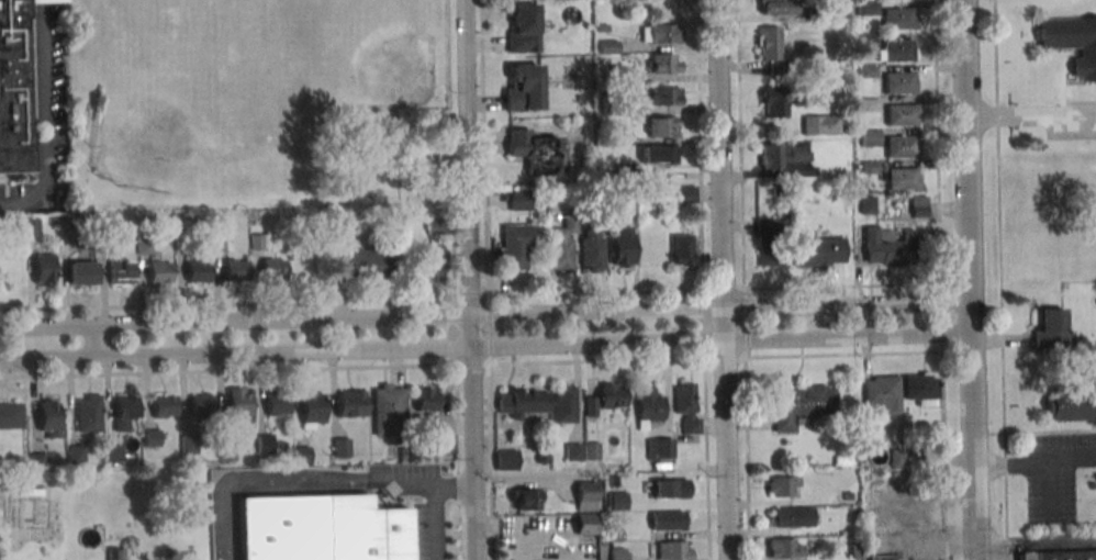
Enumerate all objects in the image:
building: (778, 7)
building: (866, 9)
building: (814, 13)
building: (897, 20)
building: (523, 27)
building: (602, 27)
building: (660, 33)
building: (865, 42)
building: (1072, 42)
building: (606, 47)
building: (770, 48)
building: (897, 51)
park: (357, 52)
building: (662, 65)
building: (865, 71)
building: (614, 72)
building: (898, 83)
building: (523, 87)
building: (13, 88)
park: (233, 93)
building: (664, 96)
building: (578, 98)
building: (774, 102)
building: (611, 104)
building: (868, 104)
building: (899, 115)
road: (1030, 115)
park: (174, 117)
parking lot: (1072, 120)
road: (41, 123)
building: (819, 124)
building: (662, 126)
building: (870, 137)
building: (618, 139)
building: (899, 147)
road: (451, 148)
building: (534, 150)
building: (660, 154)
road: (717, 154)
building: (782, 154)
building: (869, 167)
building: (622, 169)
building: (901, 179)
building: (597, 193)
building: (685, 194)
building: (519, 200)
building: (61, 201)
building: (866, 205)
building: (918, 206)
building: (107, 222)
building: (435, 225)
building: (31, 226)
building: (66, 226)
building: (338, 228)
building: (181, 239)
building: (222, 242)
building: (257, 242)
building: (768, 242)
road: (741, 244)
building: (142, 245)
building: (622, 245)
building: (513, 246)
building: (888, 246)
building: (561, 247)
building: (592, 249)
building: (682, 249)
building: (819, 251)
building: (432, 260)
building: (362, 264)
building: (305, 267)
building: (43, 268)
building: (273, 269)
building: (120, 270)
building: (197, 270)
building: (235, 271)
building: (159, 272)
building: (79, 273)
road: (999, 279)
road: (468, 280)
road: (939, 280)
road: (969, 280)
road: (723, 285)
road: (469, 293)
road: (591, 293)
road: (912, 302)
road: (226, 303)
road: (662, 309)
road: (234, 321)
road: (855, 322)
road: (747, 323)
road: (703, 324)
building: (1048, 327)
road: (489, 329)
road: (92, 341)
road: (448, 347)
road: (485, 347)
road: (724, 357)
road: (745, 359)
road: (597, 360)
road: (324, 368)
building: (919, 389)
building: (881, 395)
building: (605, 396)
building: (425, 400)
building: (521, 402)
building: (349, 403)
building: (201, 404)
building: (277, 404)
building: (562, 404)
building: (1071, 404)
building: (164, 405)
building: (239, 405)
building: (648, 406)
building: (801, 406)
building: (387, 407)
building: (685, 407)
building: (312, 408)
building: (123, 410)
building: (88, 412)
building: (11, 414)
building: (47, 417)
building: (613, 421)
road: (723, 434)
building: (152, 437)
building: (445, 444)
building: (188, 445)
building: (265, 445)
building: (340, 447)
building: (659, 449)
building: (590, 450)
building: (226, 451)
building: (572, 451)
building: (112, 452)
building: (75, 453)
building: (302, 455)
building: (894, 458)
building: (504, 459)
building: (37, 462)
building: (852, 462)
road: (1035, 464)
parking lot: (1055, 474)
building: (613, 481)
road: (331, 483)
building: (782, 485)
road: (452, 486)
building: (664, 489)
building: (584, 495)
building: (846, 496)
building: (524, 500)
building: (616, 501)
building: (791, 516)
building: (666, 520)
building: (583, 524)
building: (322, 528)
building: (614, 535)
road: (1035, 541)
building: (783, 548)
building: (668, 550)
building: (617, 553)
building: (114, 555)
building: (1056, 555)
building: (884, 557)
building: (184, 559)

